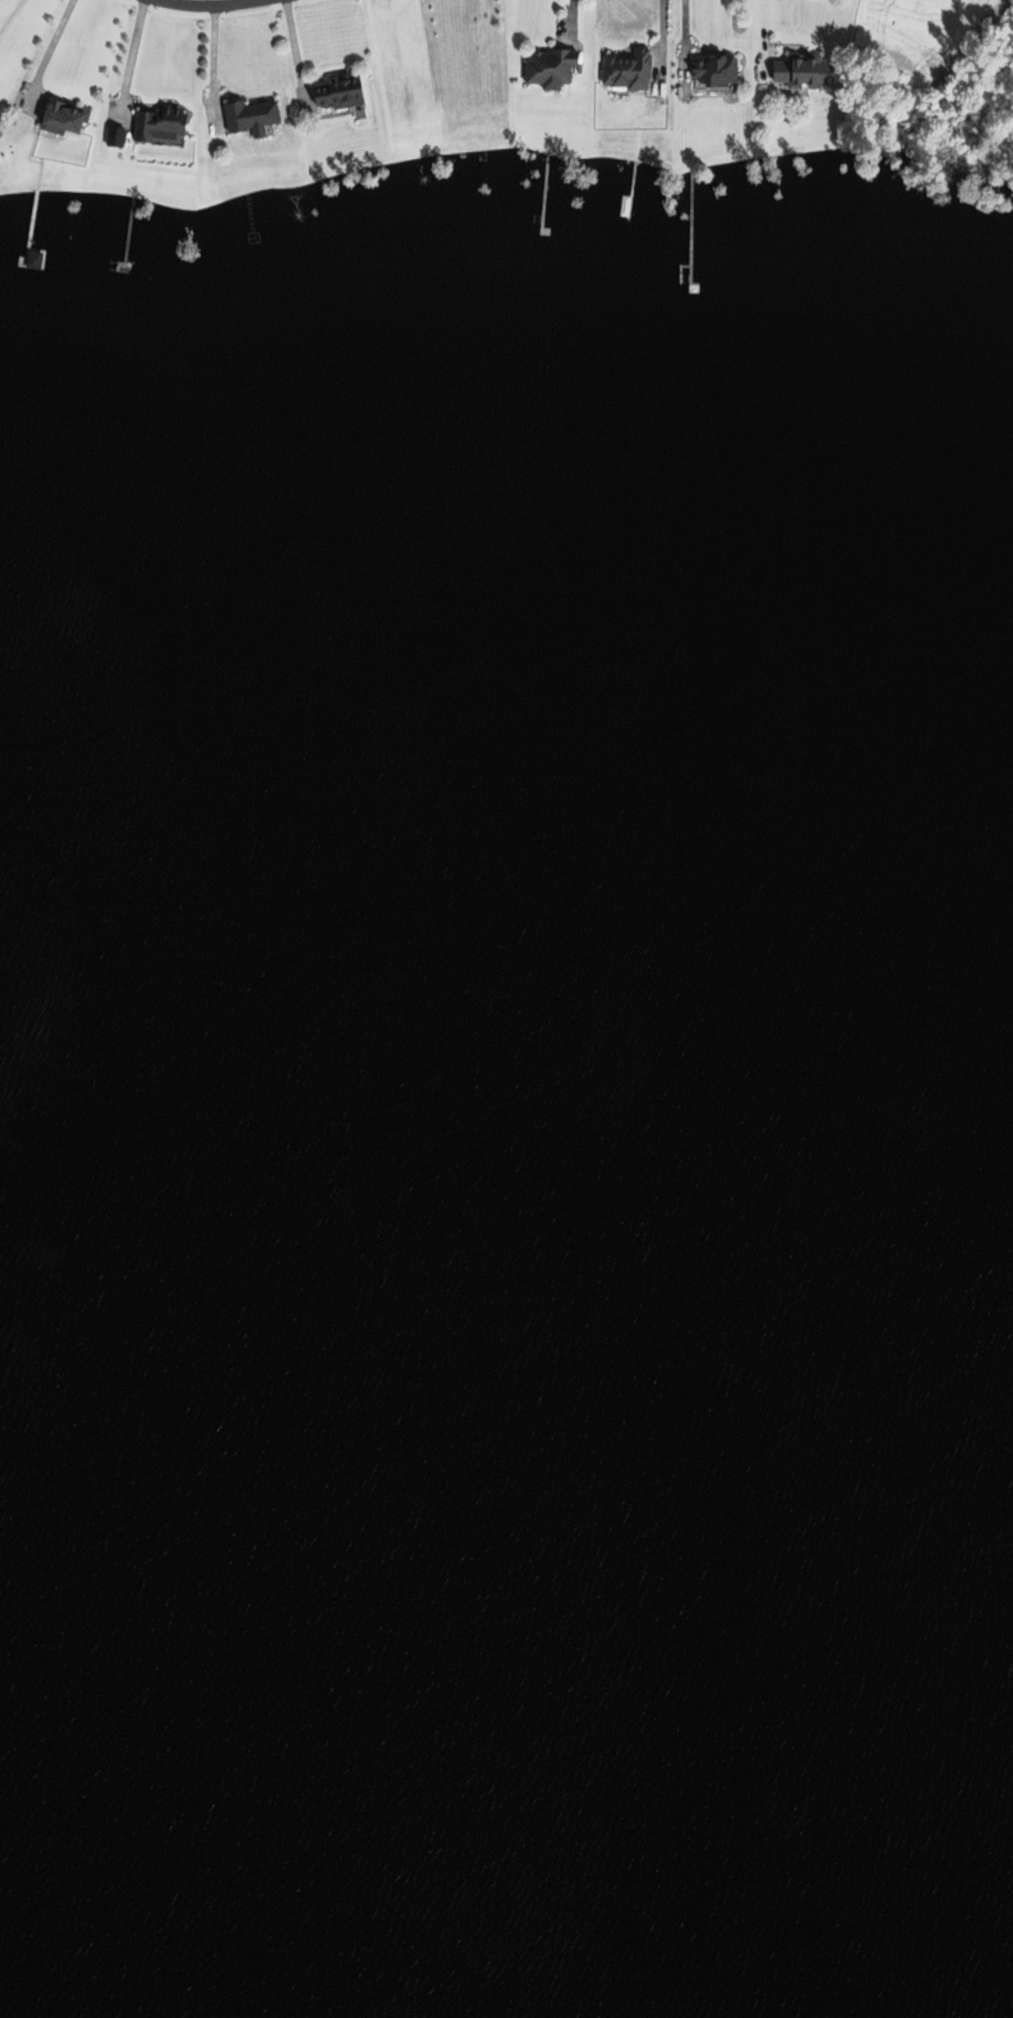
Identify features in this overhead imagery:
road: (213, 6)
road: (683, 28)
road: (762, 28)
road: (663, 35)
road: (53, 46)
road: (133, 57)
road: (215, 63)
building: (547, 67)
building: (625, 70)
building: (798, 71)
building: (712, 73)
building: (336, 91)
building: (249, 117)
building: (61, 118)
building: (156, 124)
building: (113, 137)

